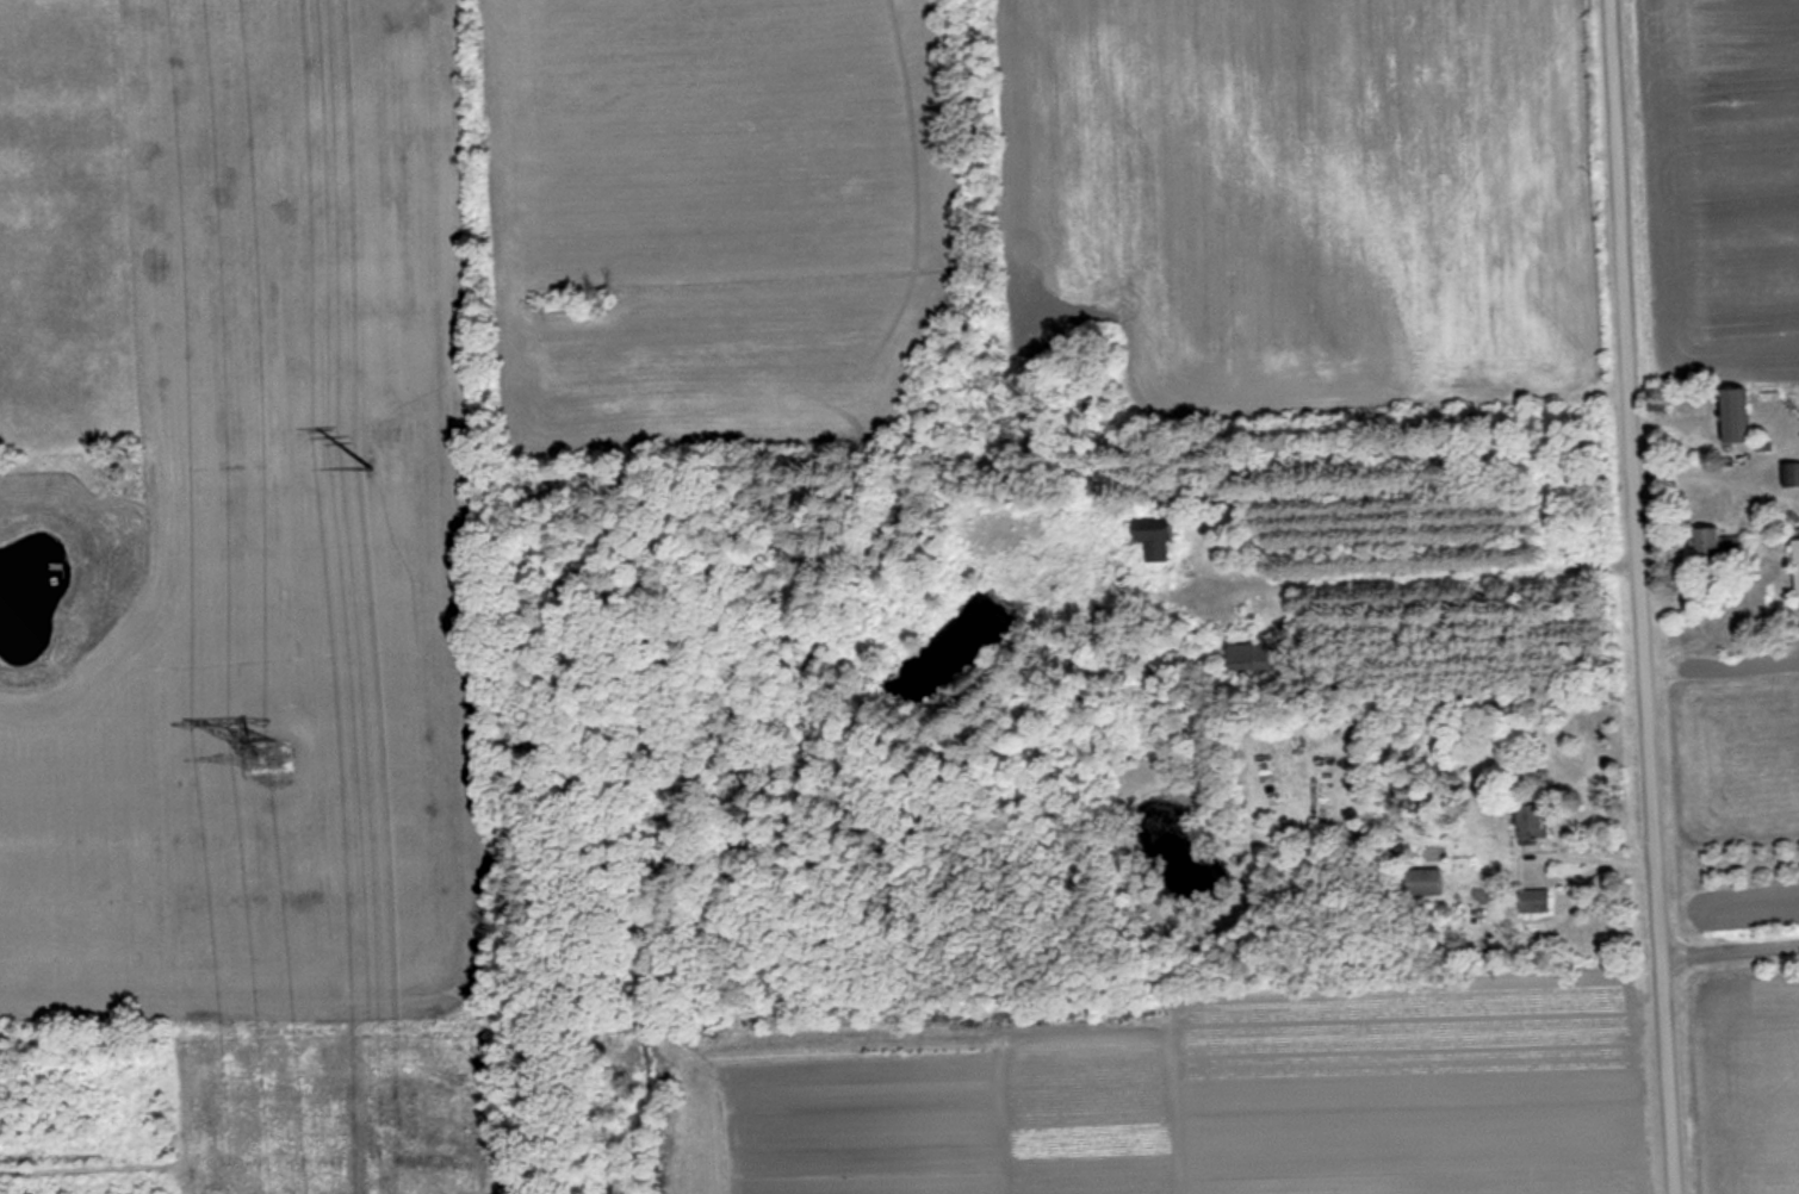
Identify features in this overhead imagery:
building: (1732, 413)
power tower: (373, 461)
building: (1791, 473)
building: (1153, 537)
building: (1718, 543)
building: (1794, 568)
road: (1634, 597)
building: (1258, 660)
power tower: (259, 755)
building: (1528, 823)
road: (1546, 875)
building: (1420, 882)
building: (1533, 900)
road: (1726, 951)

